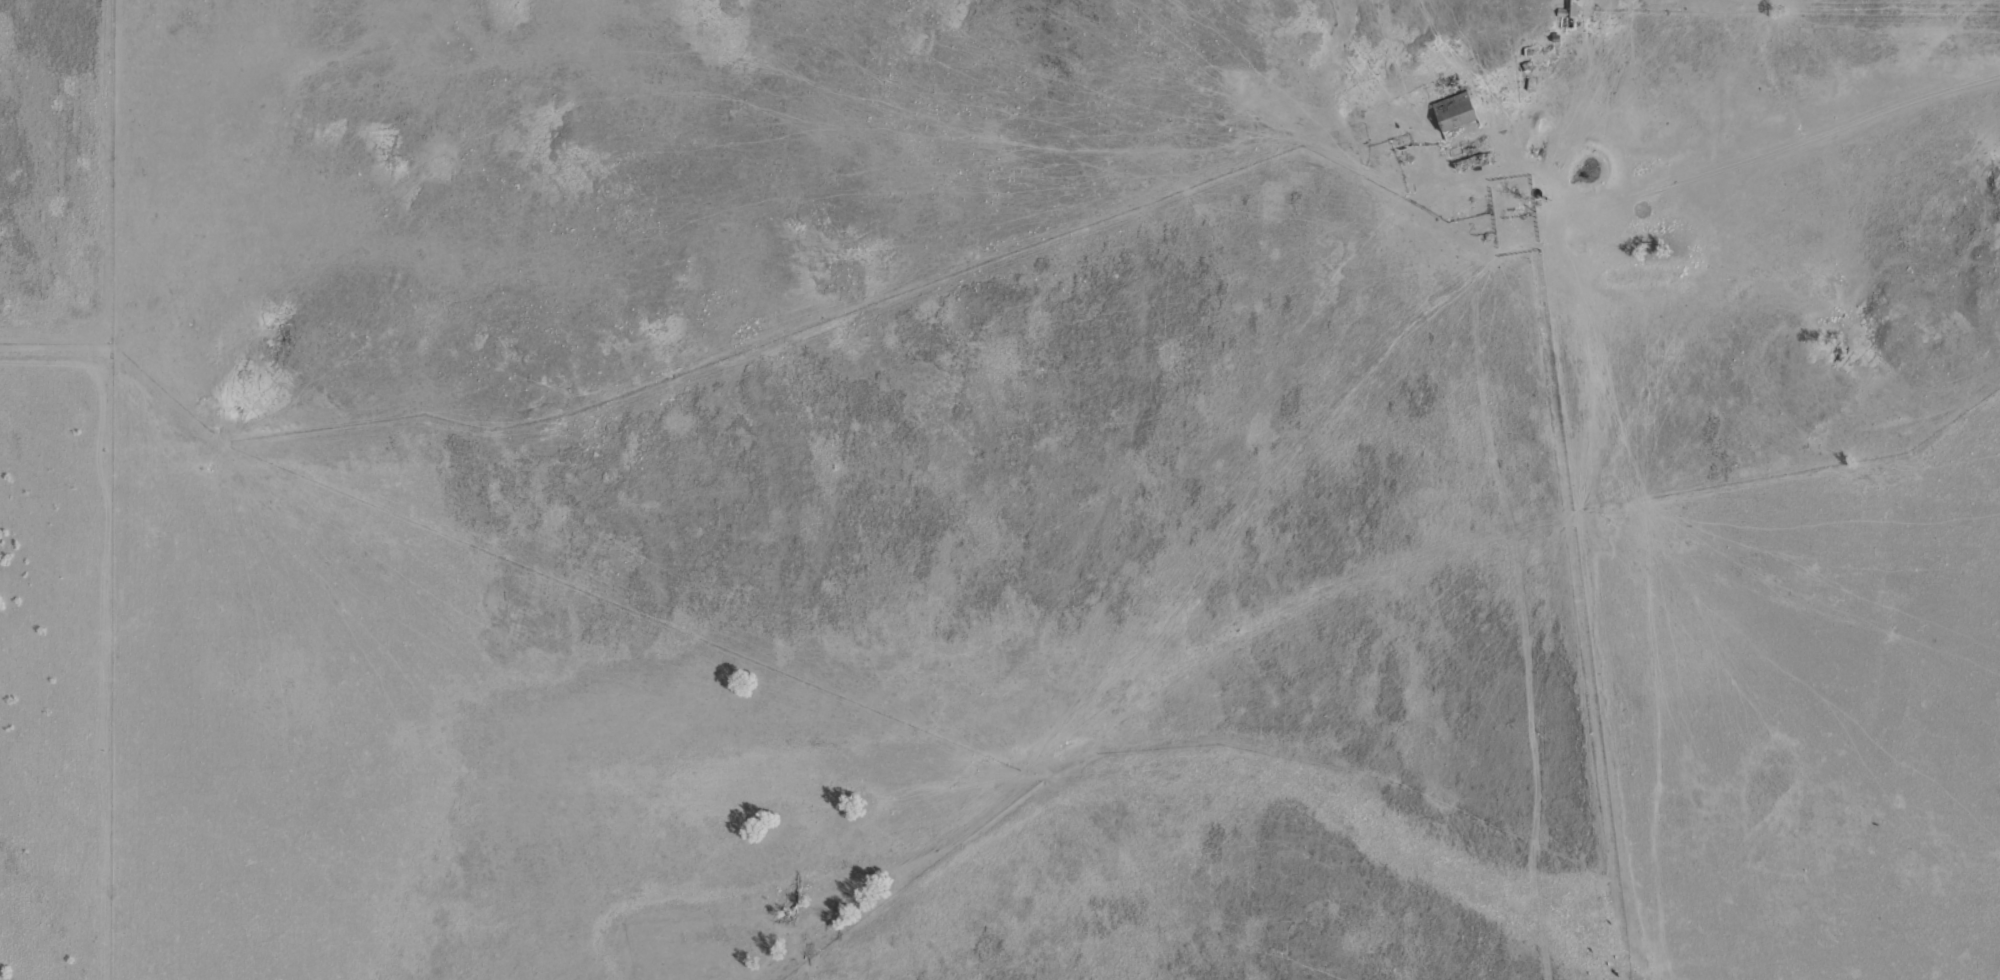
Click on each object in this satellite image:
building: (1574, 8)
building: (1454, 113)
road: (1068, 576)

